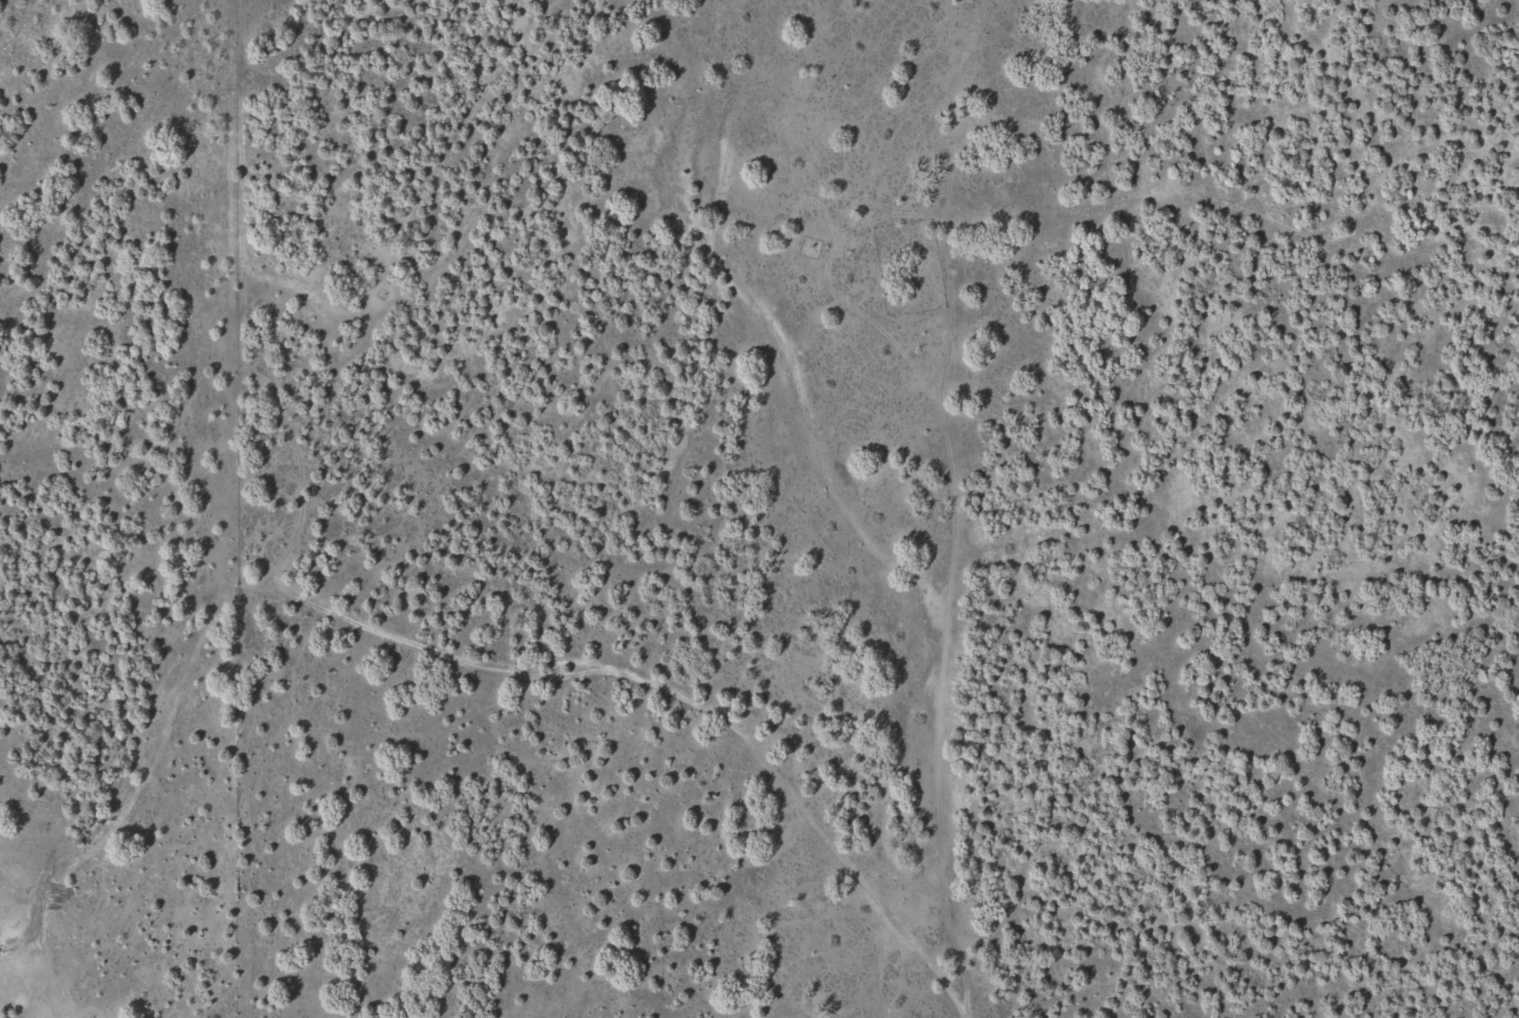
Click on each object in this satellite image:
road: (481, 662)

